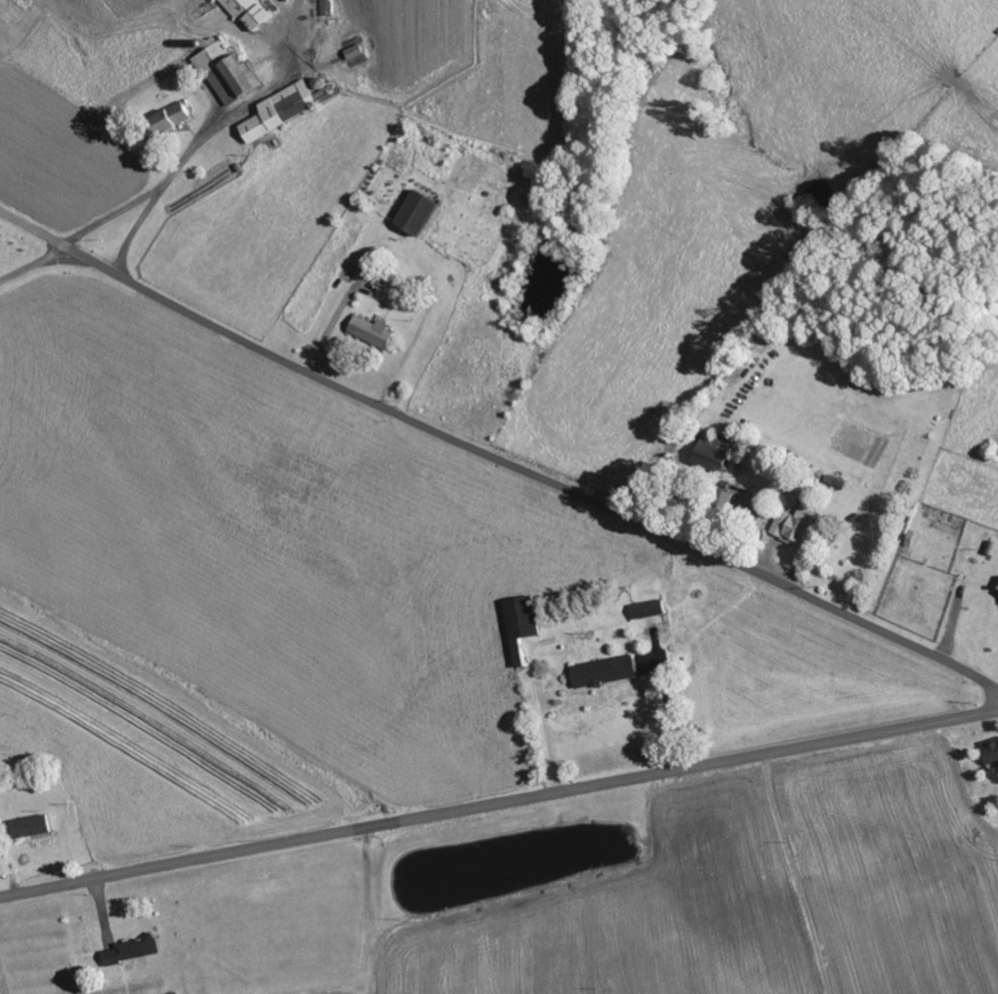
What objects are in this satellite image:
building: (252, 12)
building: (358, 52)
building: (231, 73)
building: (284, 110)
building: (175, 117)
building: (421, 213)
building: (373, 332)
building: (715, 453)
road: (497, 458)
building: (796, 525)
building: (649, 609)
building: (522, 626)
building: (605, 672)
building: (992, 755)
road: (498, 803)
building: (34, 827)
road: (785, 875)
road: (362, 911)
building: (135, 951)

